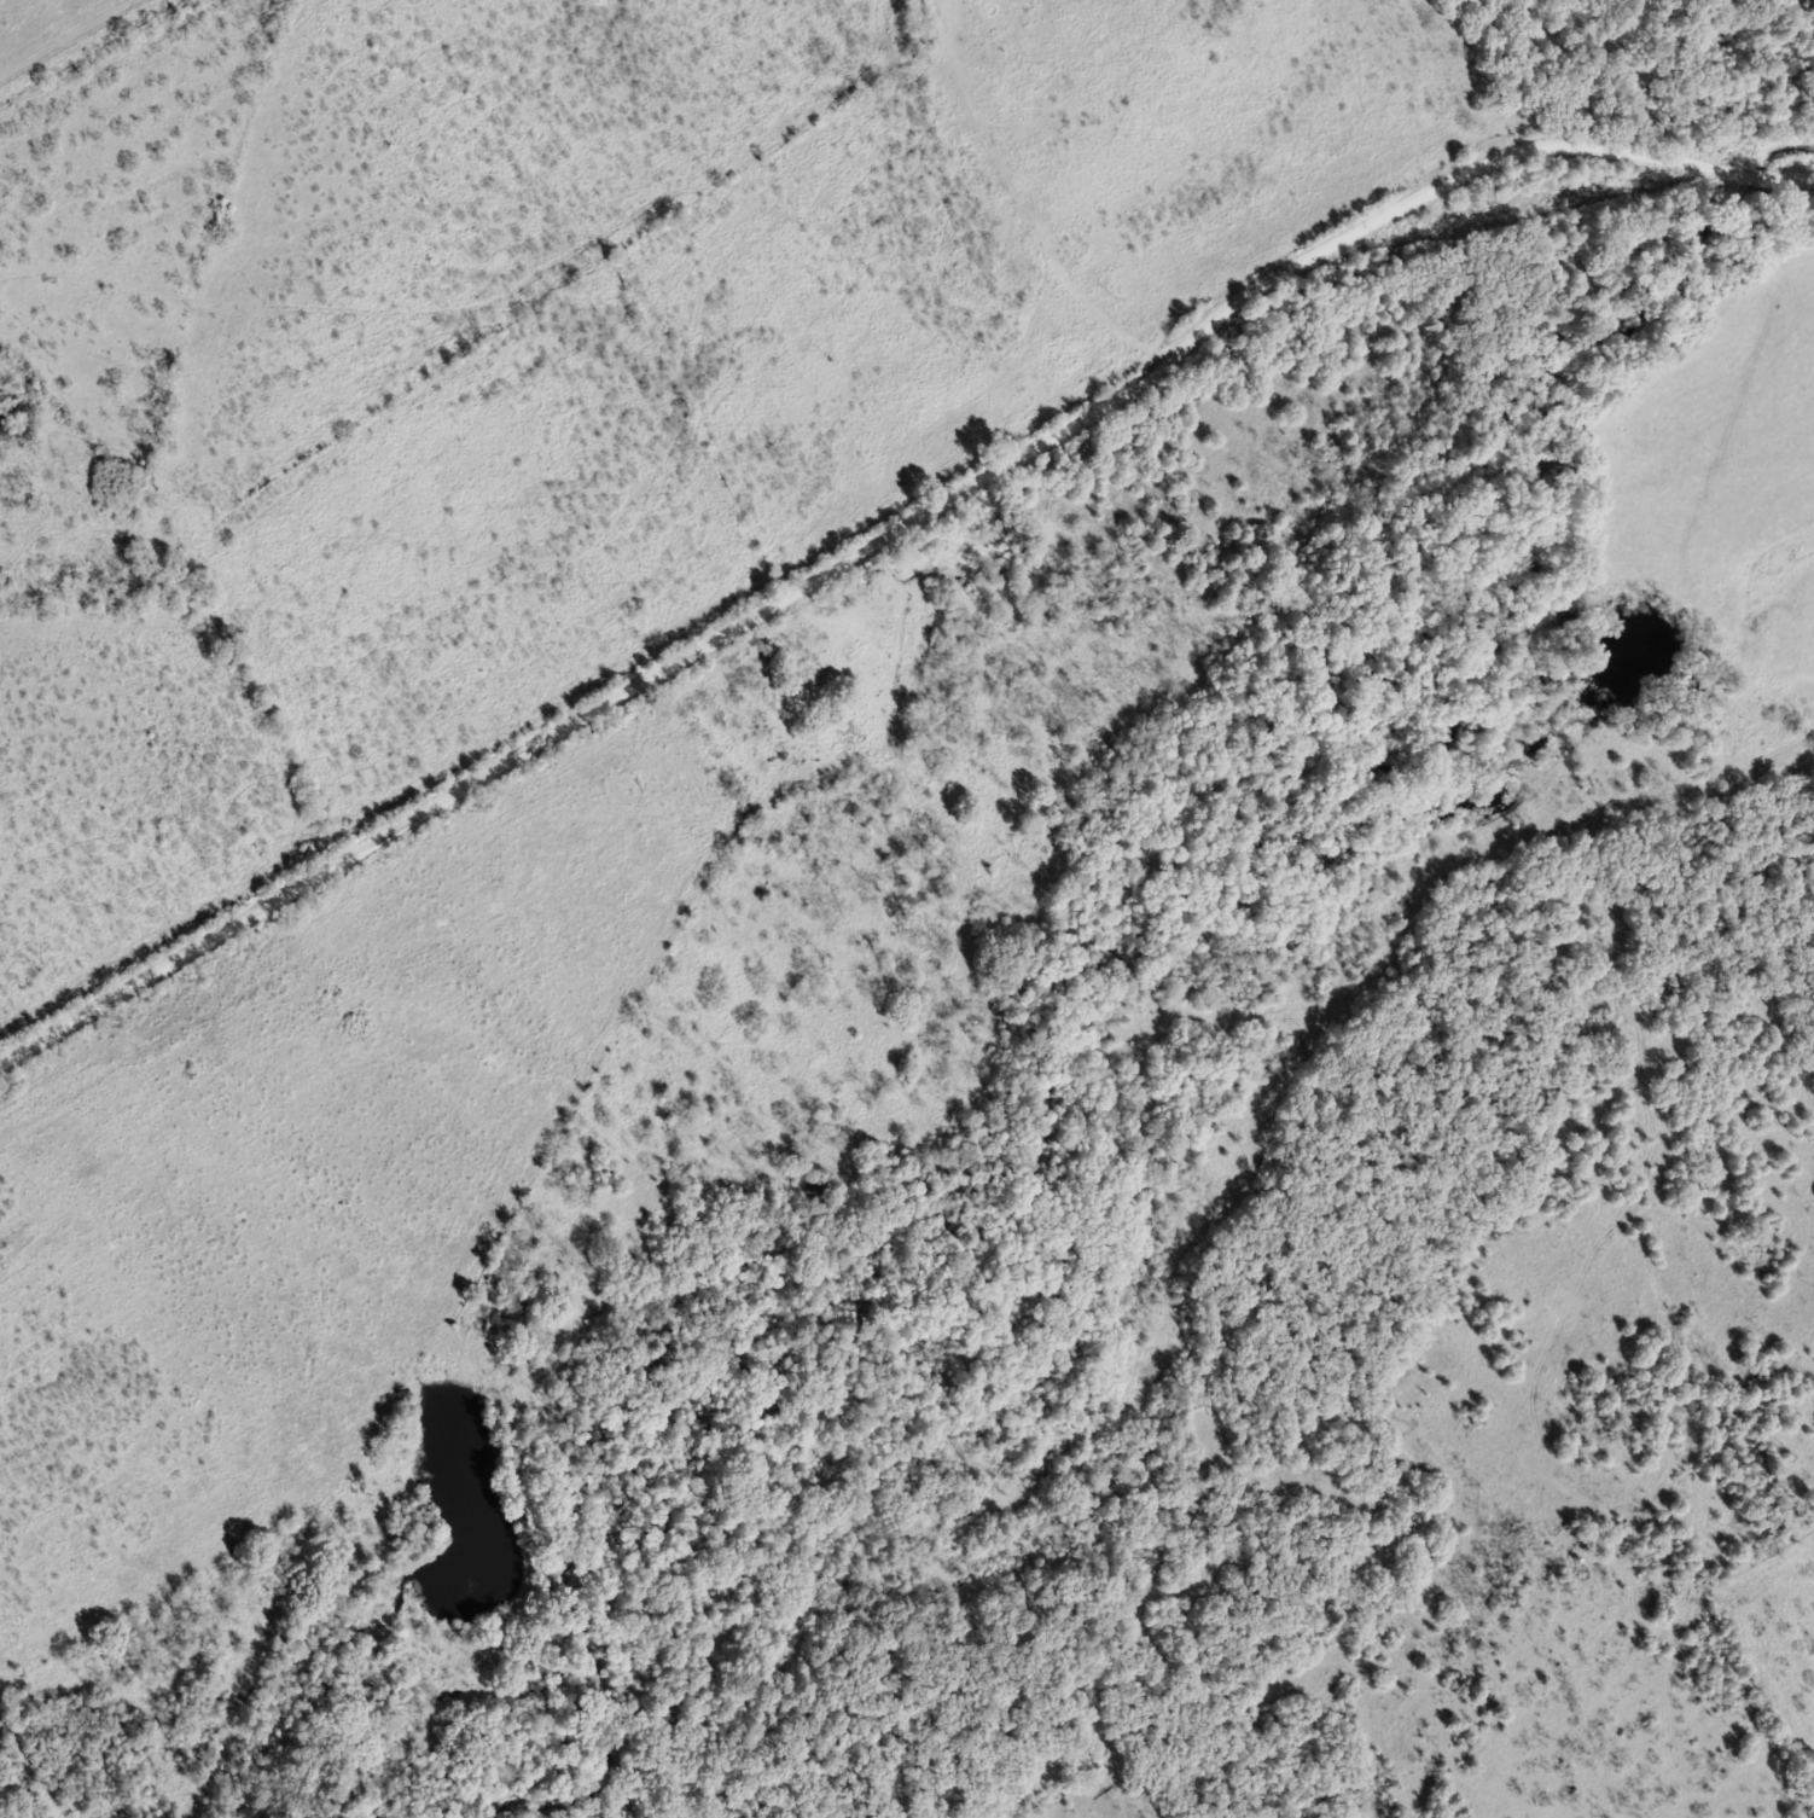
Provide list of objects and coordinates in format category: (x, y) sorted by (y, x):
road: (894, 539)

